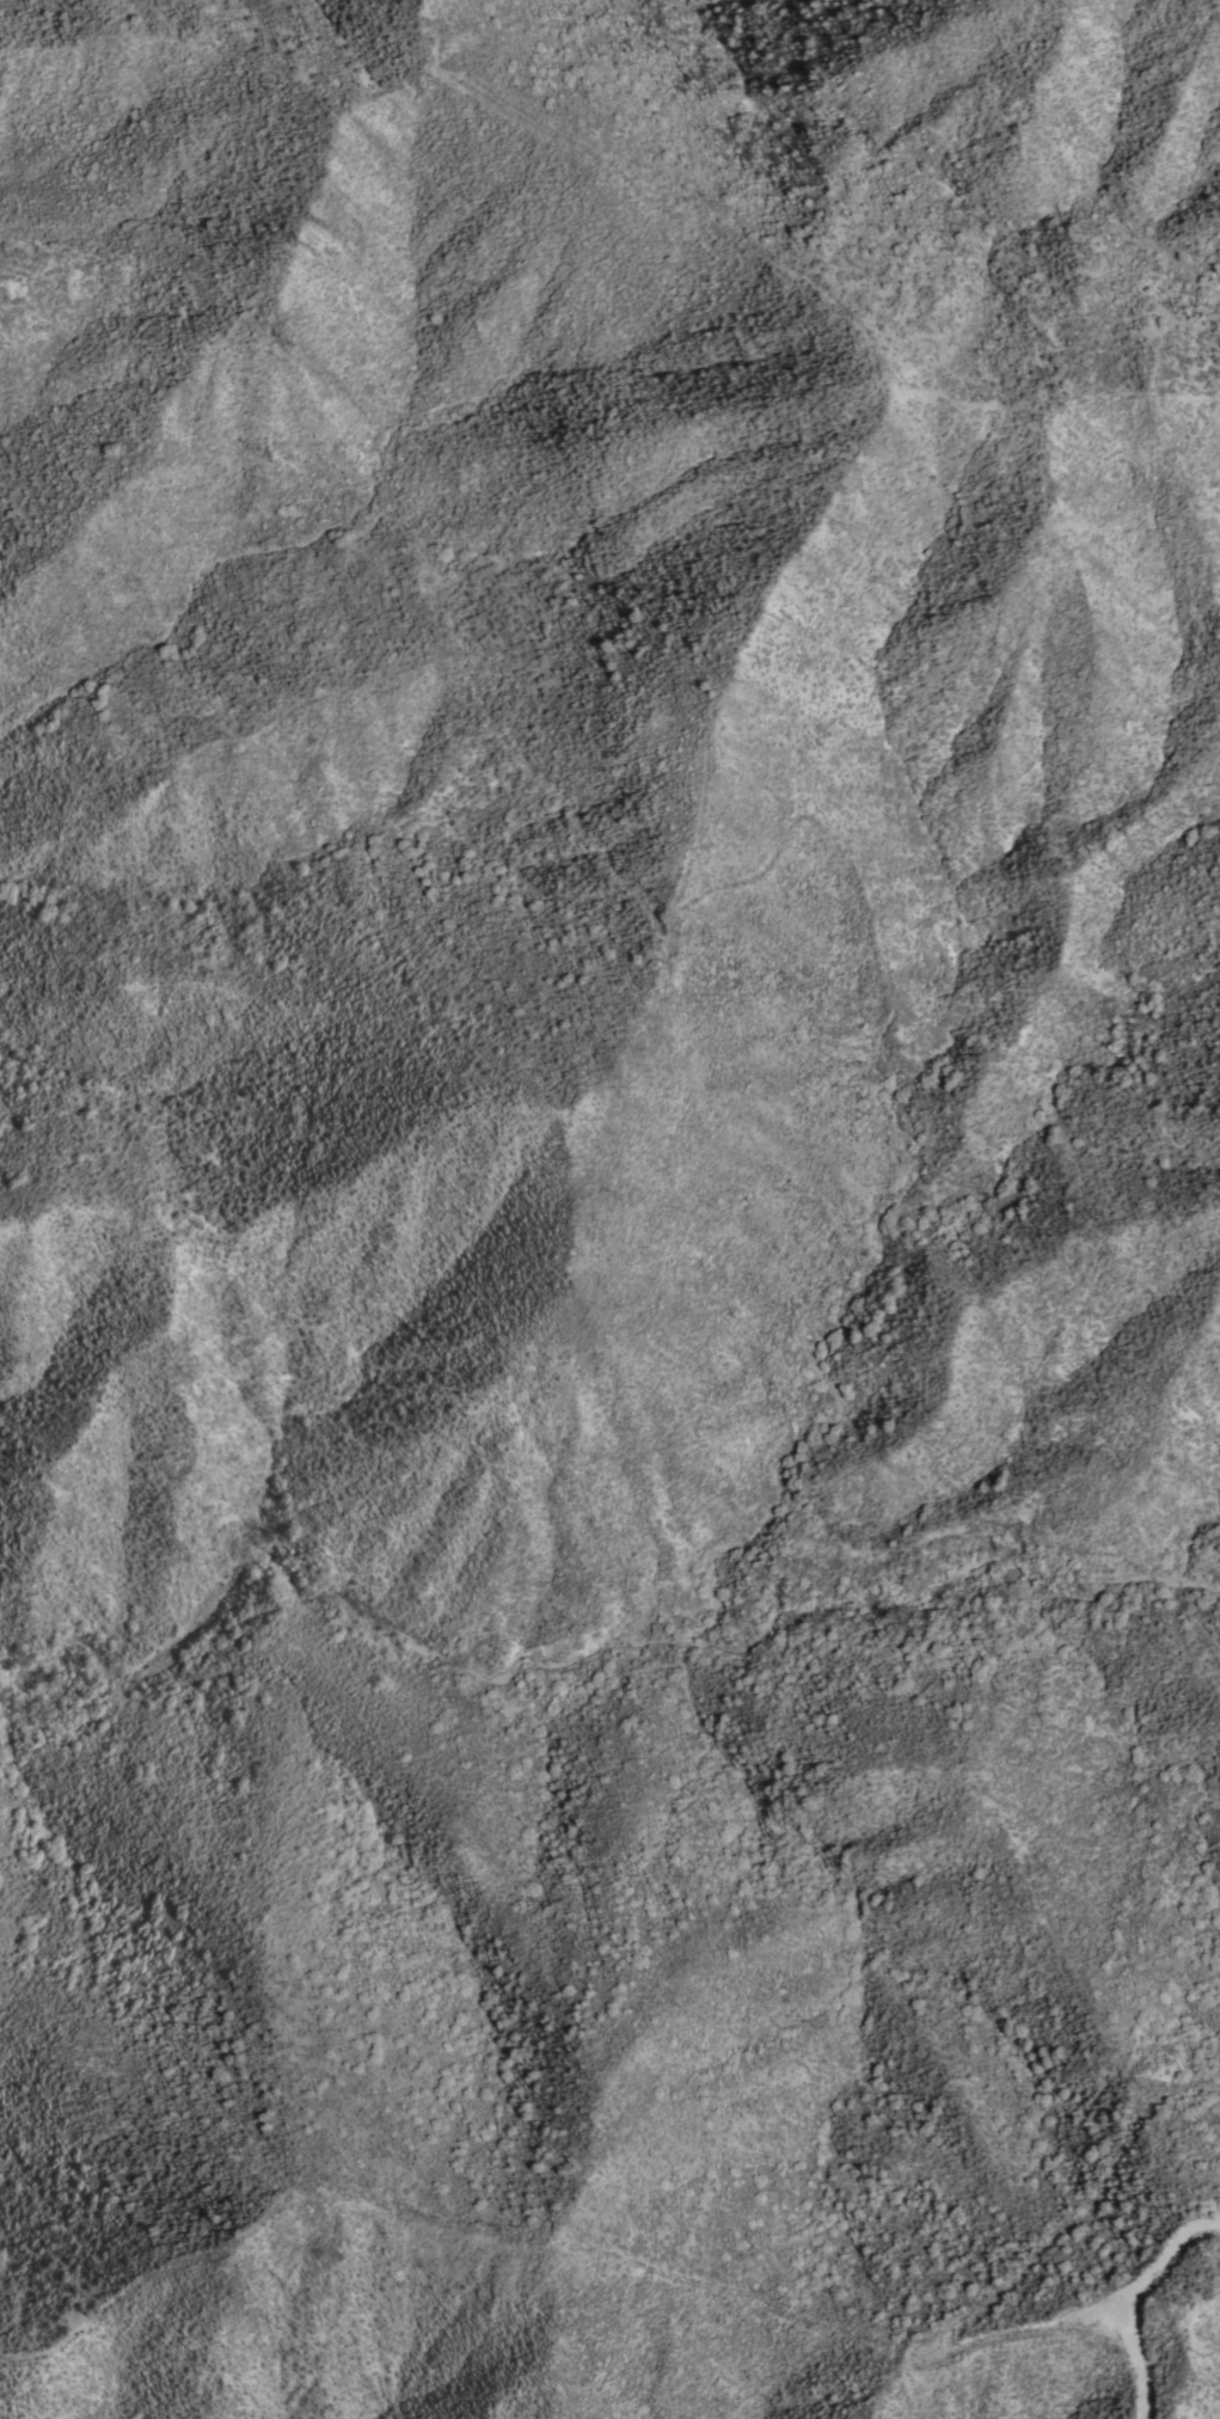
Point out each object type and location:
road: (1132, 2302)

